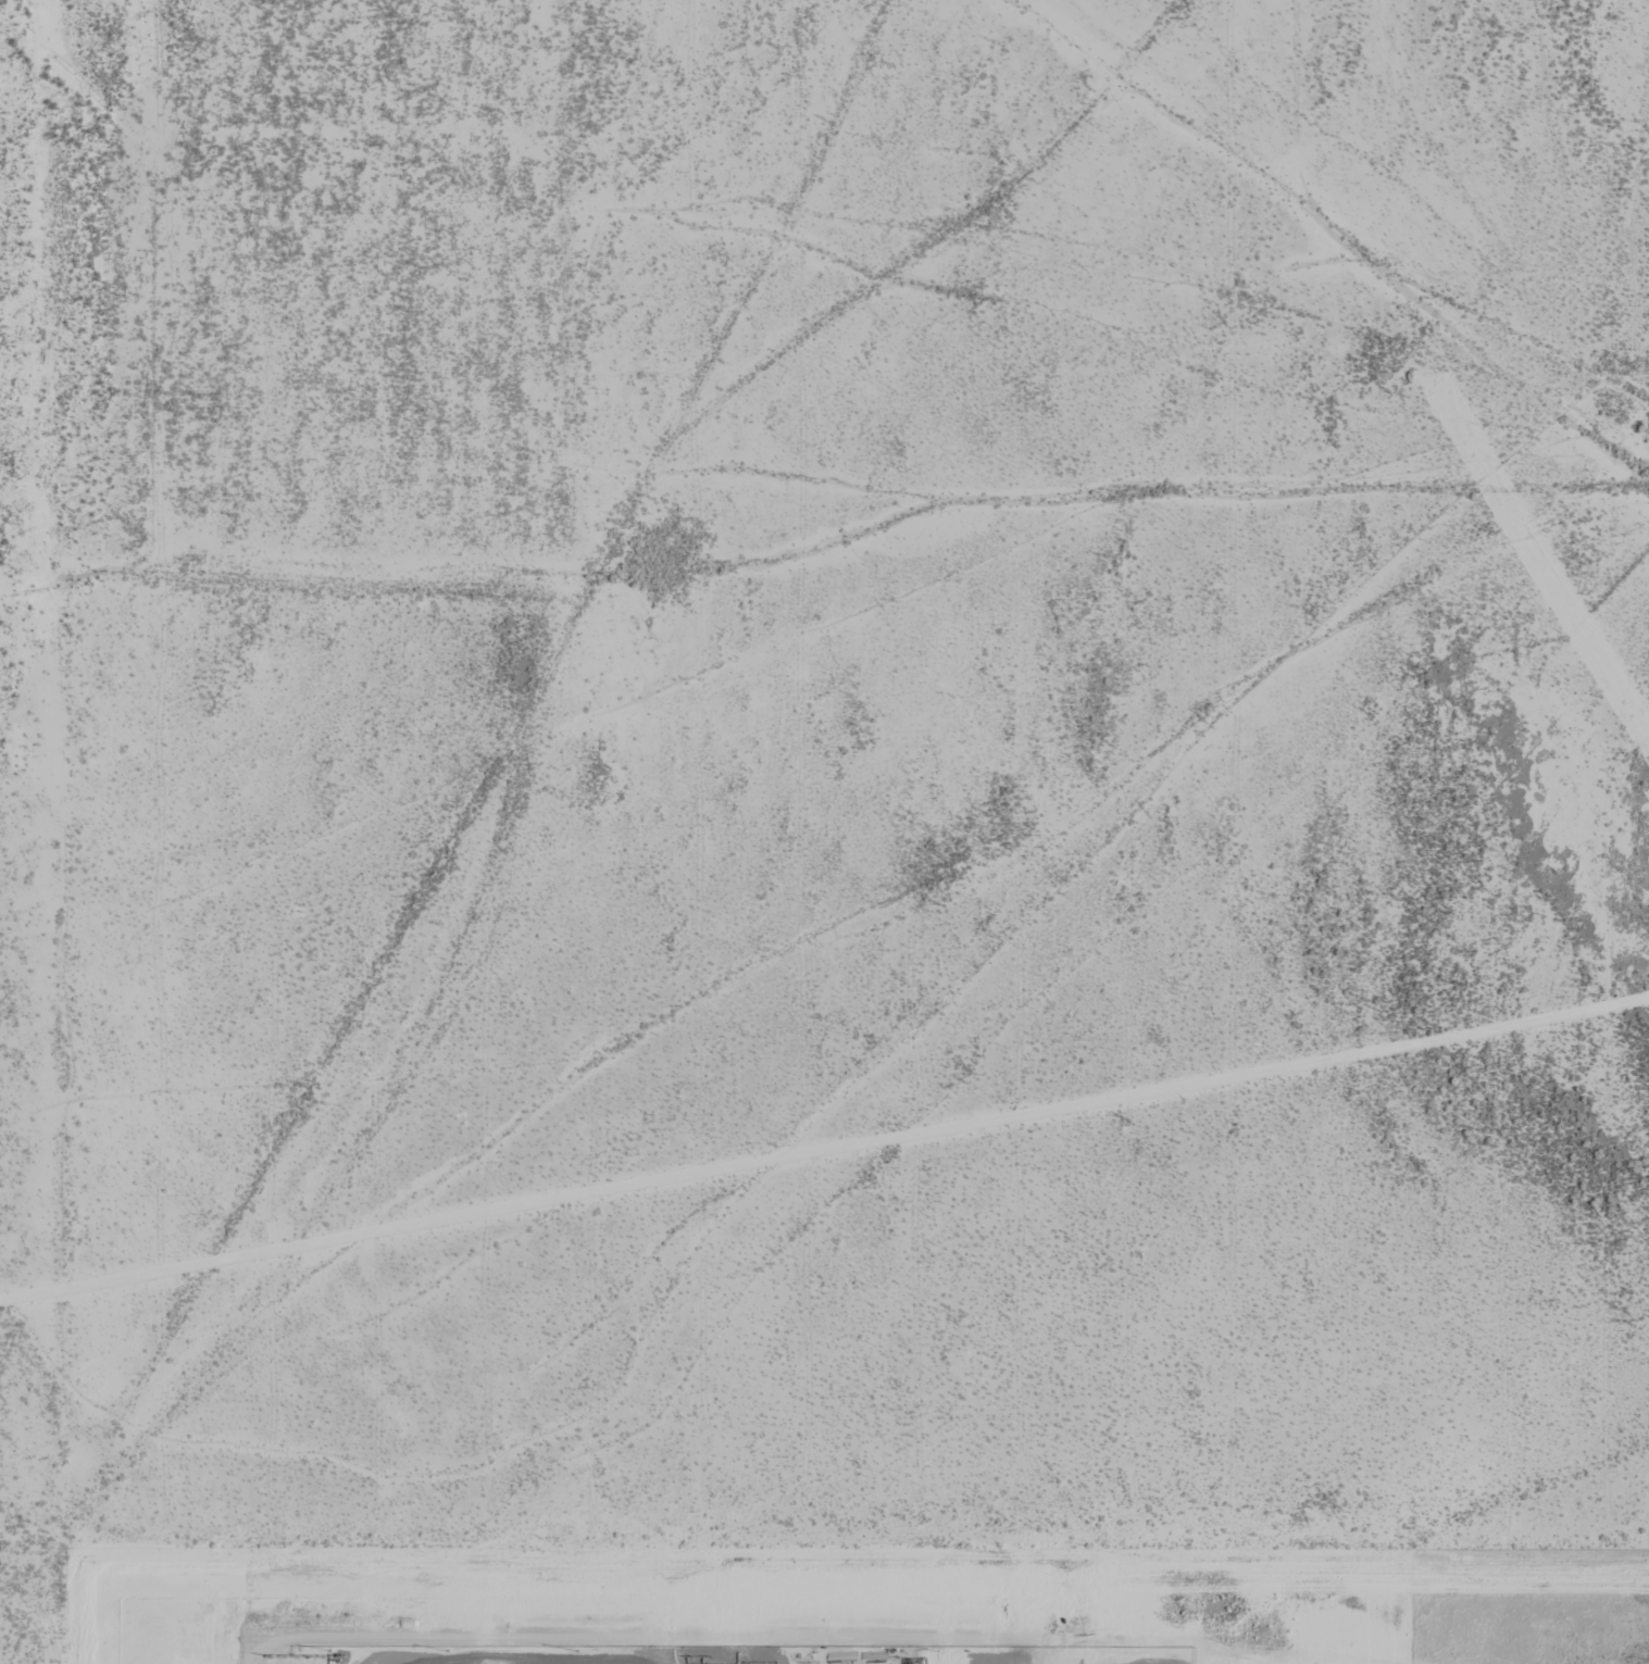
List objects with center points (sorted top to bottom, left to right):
road: (451, 766)

